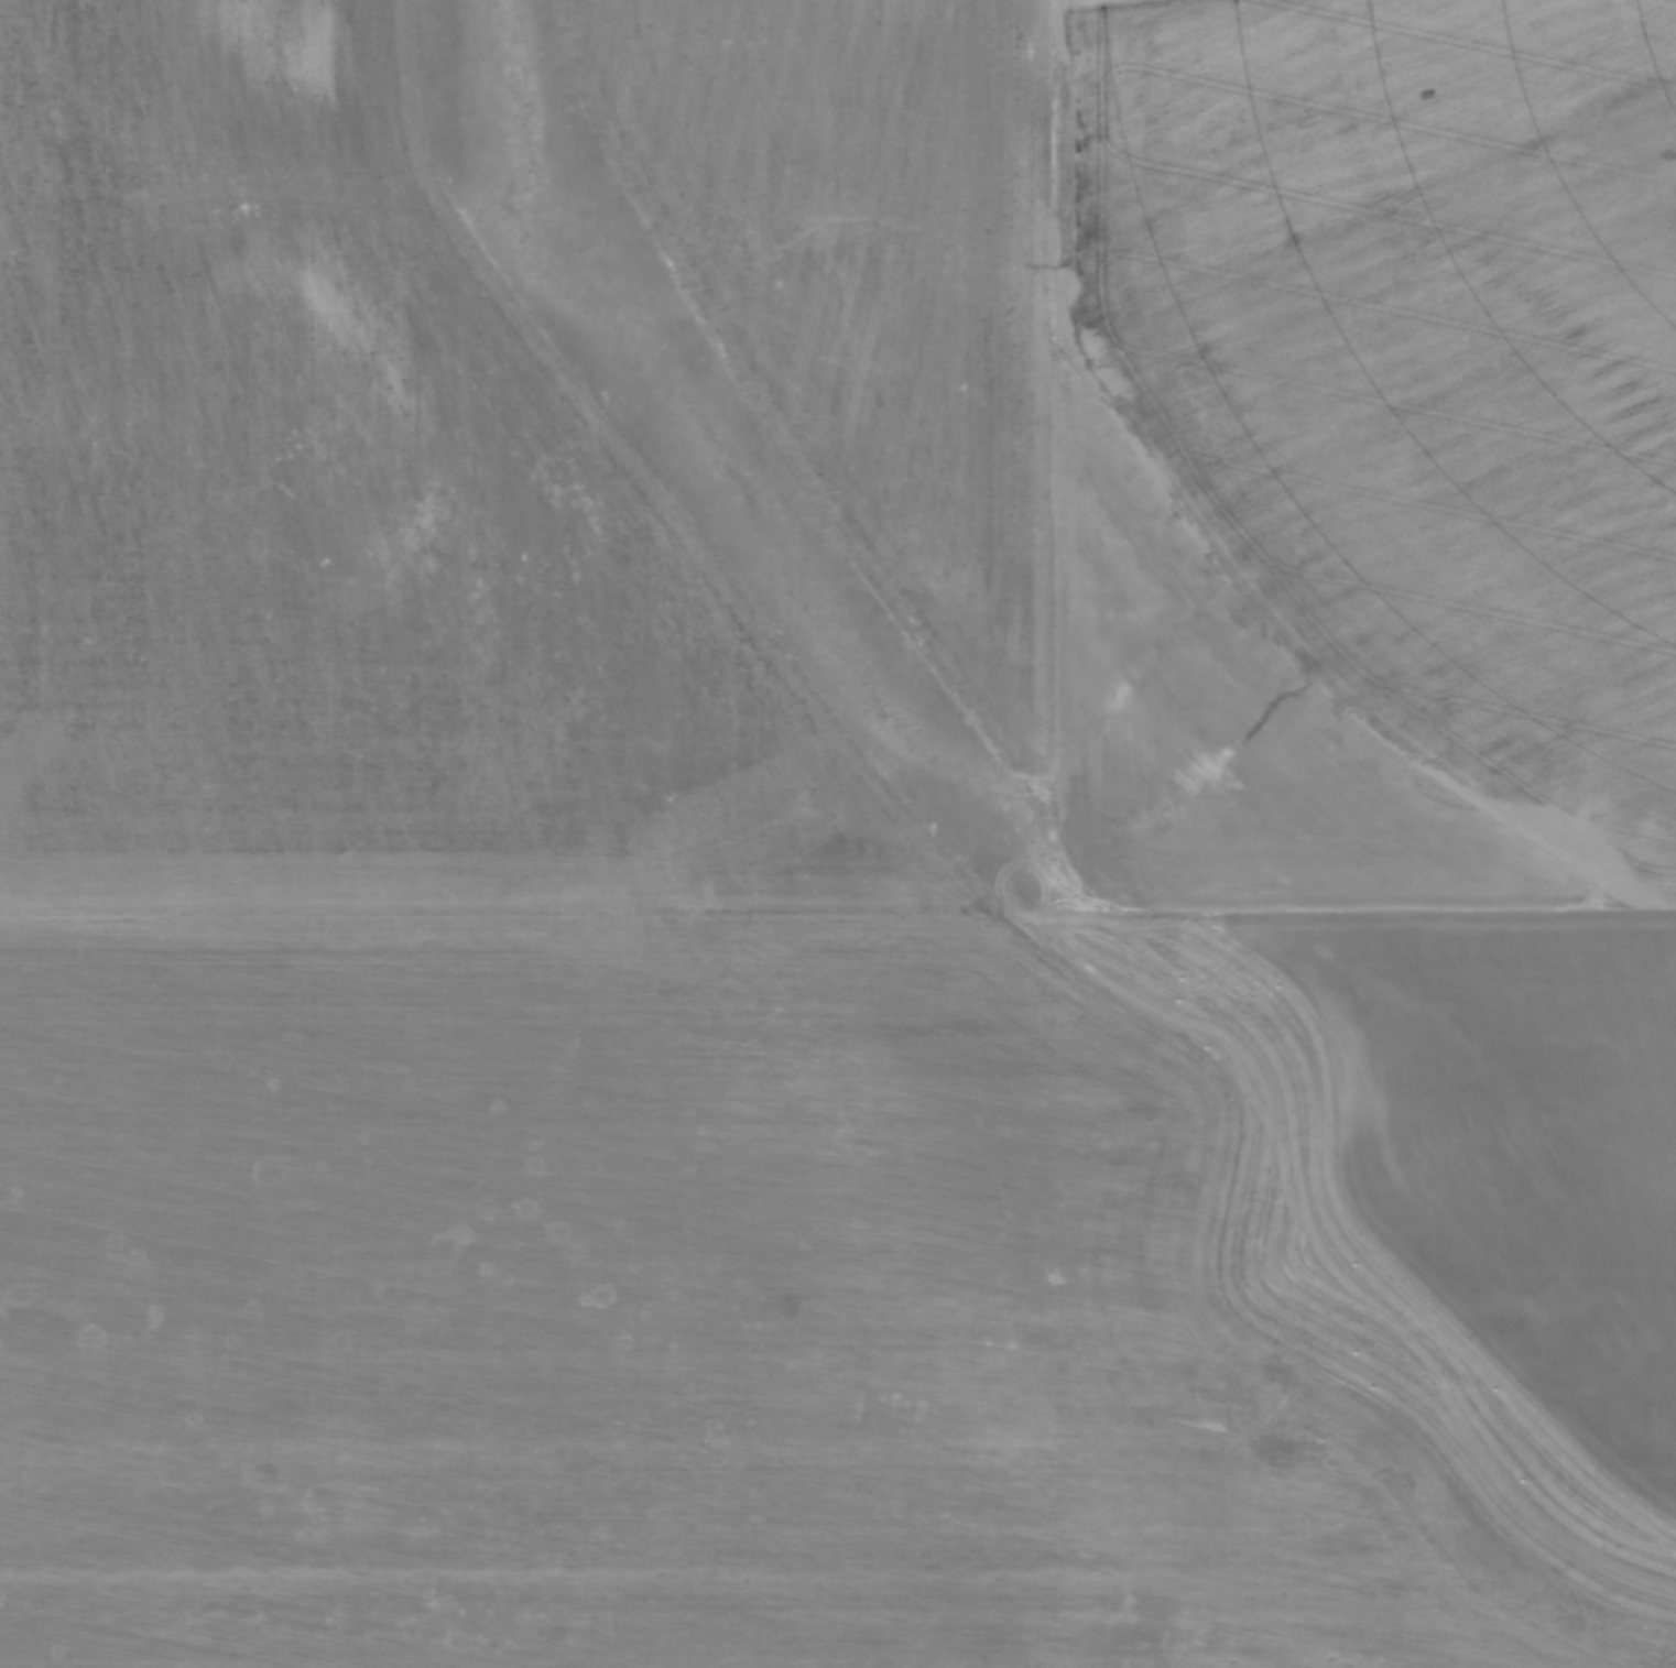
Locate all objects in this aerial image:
crop: (1272, 527)
crop: (552, 1022)

